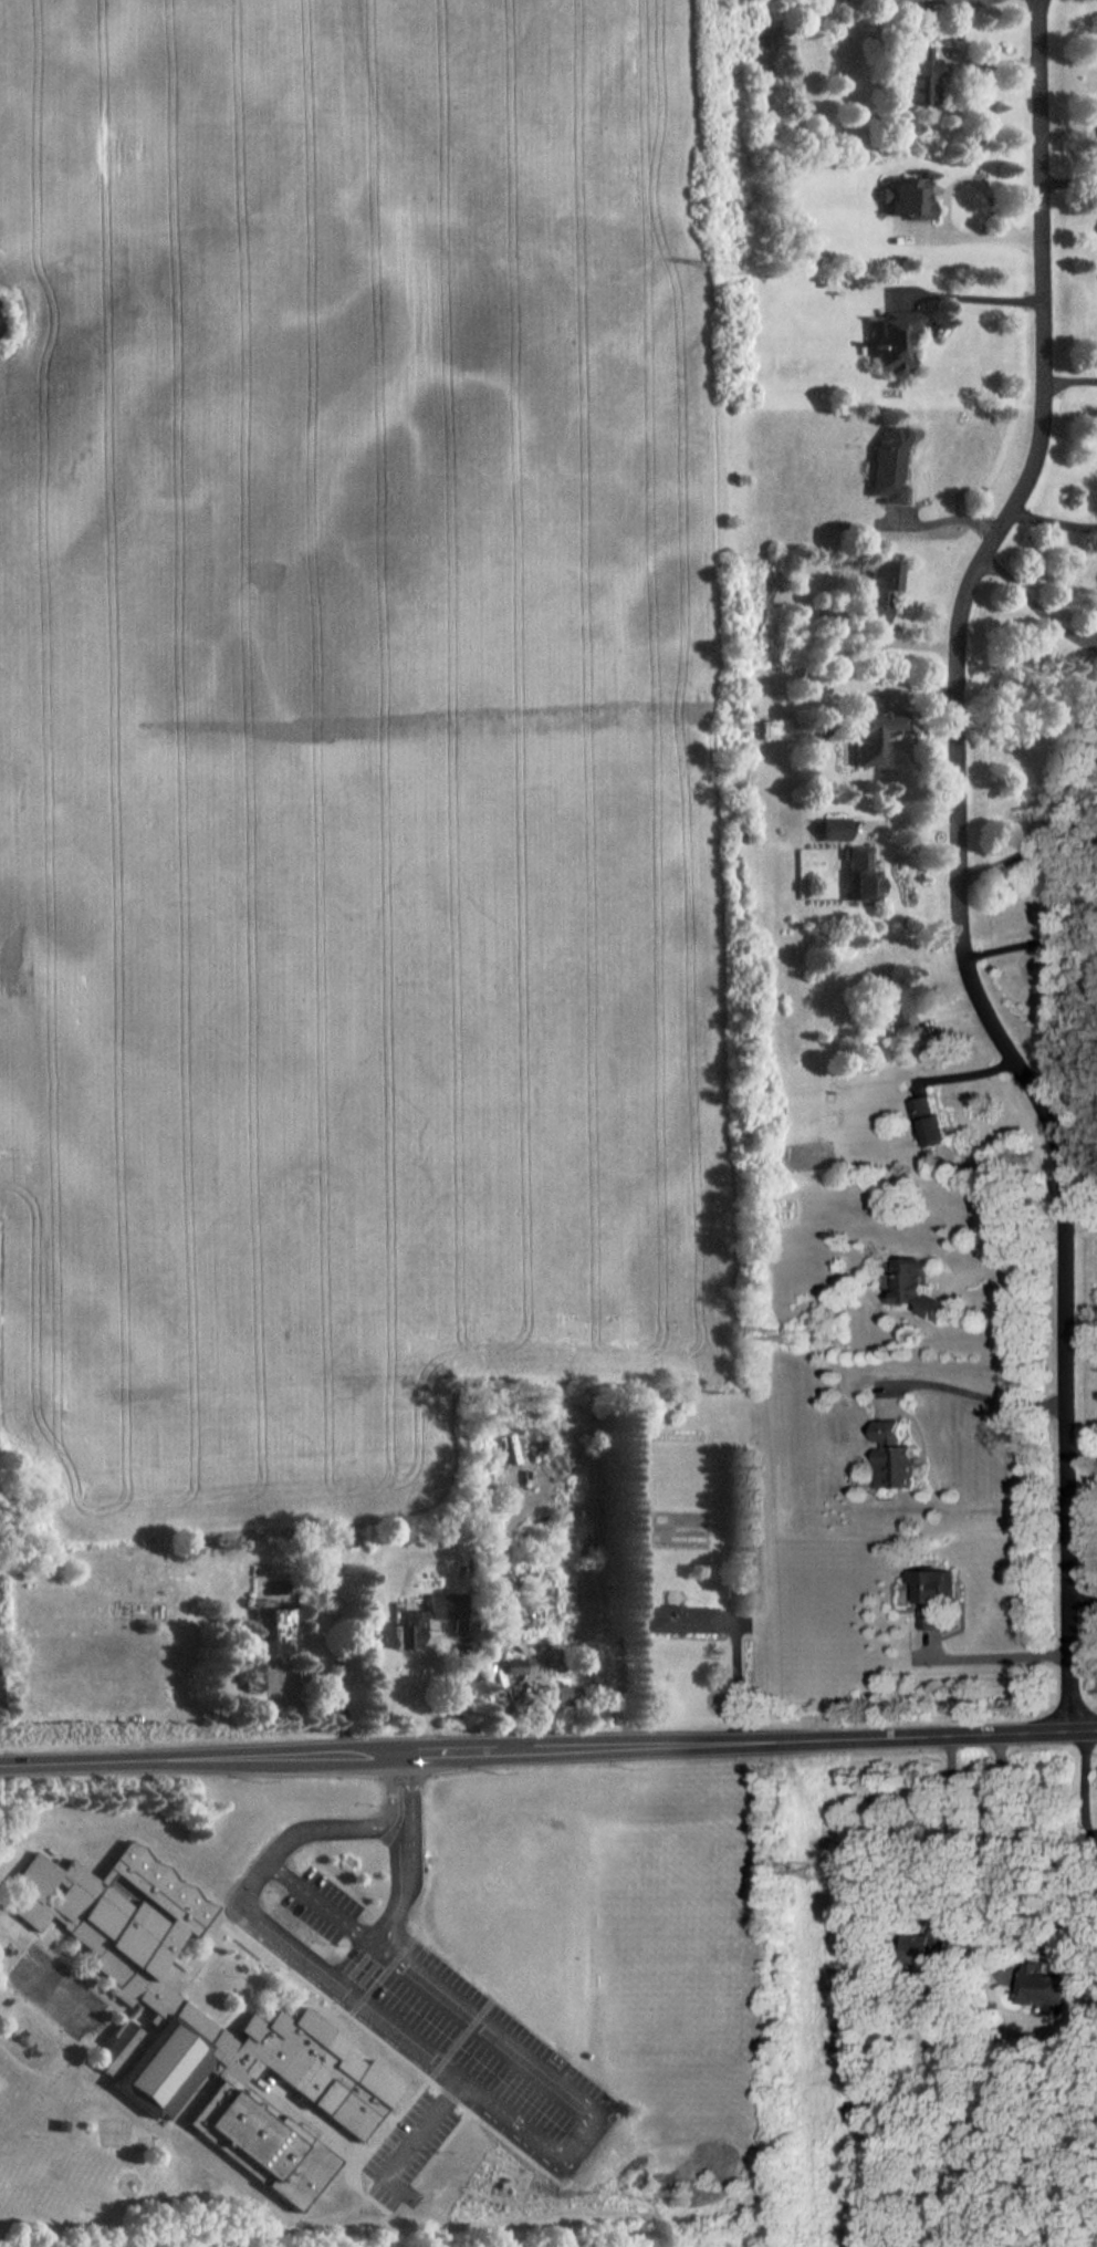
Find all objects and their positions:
road: (961, 1)
road: (994, 65)
building: (922, 80)
road: (1069, 128)
road: (975, 183)
road: (1070, 184)
building: (910, 199)
road: (975, 238)
power tower: (729, 271)
road: (971, 298)
building: (898, 336)
road: (1073, 382)
building: (890, 466)
road: (949, 522)
road: (1054, 523)
building: (885, 590)
road: (1036, 608)
building: (1095, 610)
road: (911, 646)
road: (906, 699)
power tower: (772, 734)
building: (874, 737)
road: (913, 738)
crop: (347, 745)
road: (910, 825)
building: (836, 830)
road: (1053, 831)
road: (963, 866)
road: (1055, 867)
road: (990, 868)
building: (864, 875)
road: (1034, 955)
building: (895, 1007)
road: (960, 1017)
road: (971, 1085)
building: (932, 1125)
road: (1085, 1223)
road: (1010, 1268)
building: (918, 1290)
power tower: (800, 1340)
road: (981, 1392)
road: (1085, 1452)
building: (898, 1456)
building: (666, 1526)
building: (934, 1592)
road: (1087, 1593)
building: (677, 1623)
road: (723, 1623)
building: (275, 1625)
building: (407, 1626)
road: (995, 1655)
road: (732, 1674)
road: (431, 1693)
building: (563, 1693)
road: (548, 1747)
road: (389, 1787)
road: (1086, 1787)
road: (411, 1802)
road: (957, 1829)
road: (1012, 1838)
power tower: (824, 1871)
parking lot: (325, 1897)
road: (295, 1939)
building: (939, 1941)
park: (679, 1947)
building: (1049, 1996)
building: (199, 2014)
building: (117, 2047)
parking lot: (497, 2050)
road: (562, 2081)
road: (424, 2122)
parking lot: (410, 2139)

